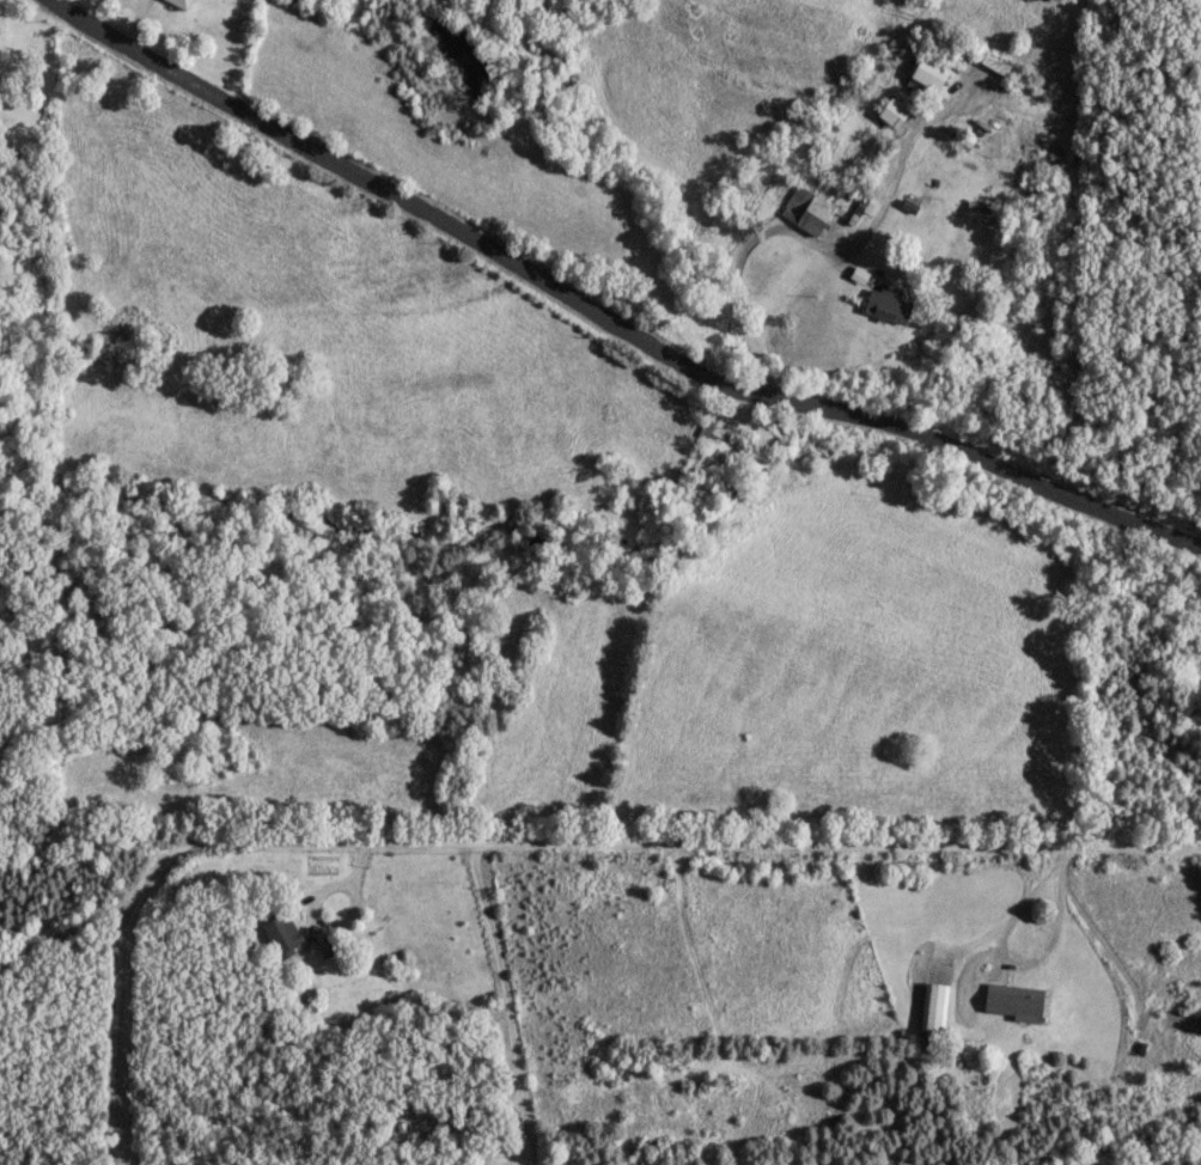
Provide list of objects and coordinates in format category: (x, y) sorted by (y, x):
building: (179, 2)
building: (929, 68)
building: (892, 111)
building: (805, 209)
building: (980, 211)
road: (815, 246)
building: (886, 303)
road: (608, 318)
building: (706, 422)
road: (522, 841)
building: (281, 932)
road: (1006, 959)
building: (1012, 998)
road: (506, 1001)
building: (933, 1002)

